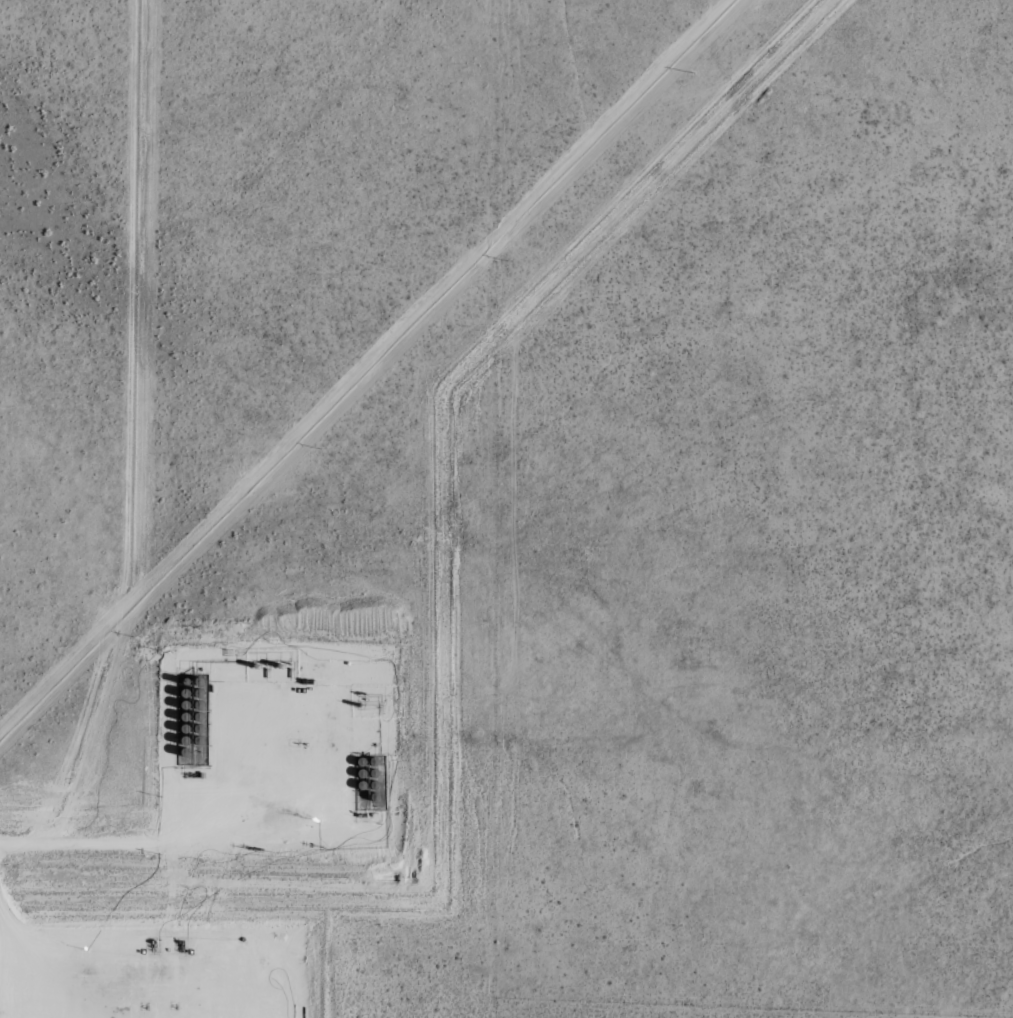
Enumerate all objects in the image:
road: (287, 740)
petroleum well: (298, 742)
road: (102, 831)
road: (28, 950)
road: (180, 984)
petroleum well: (146, 1006)
petroleum well: (177, 1006)

